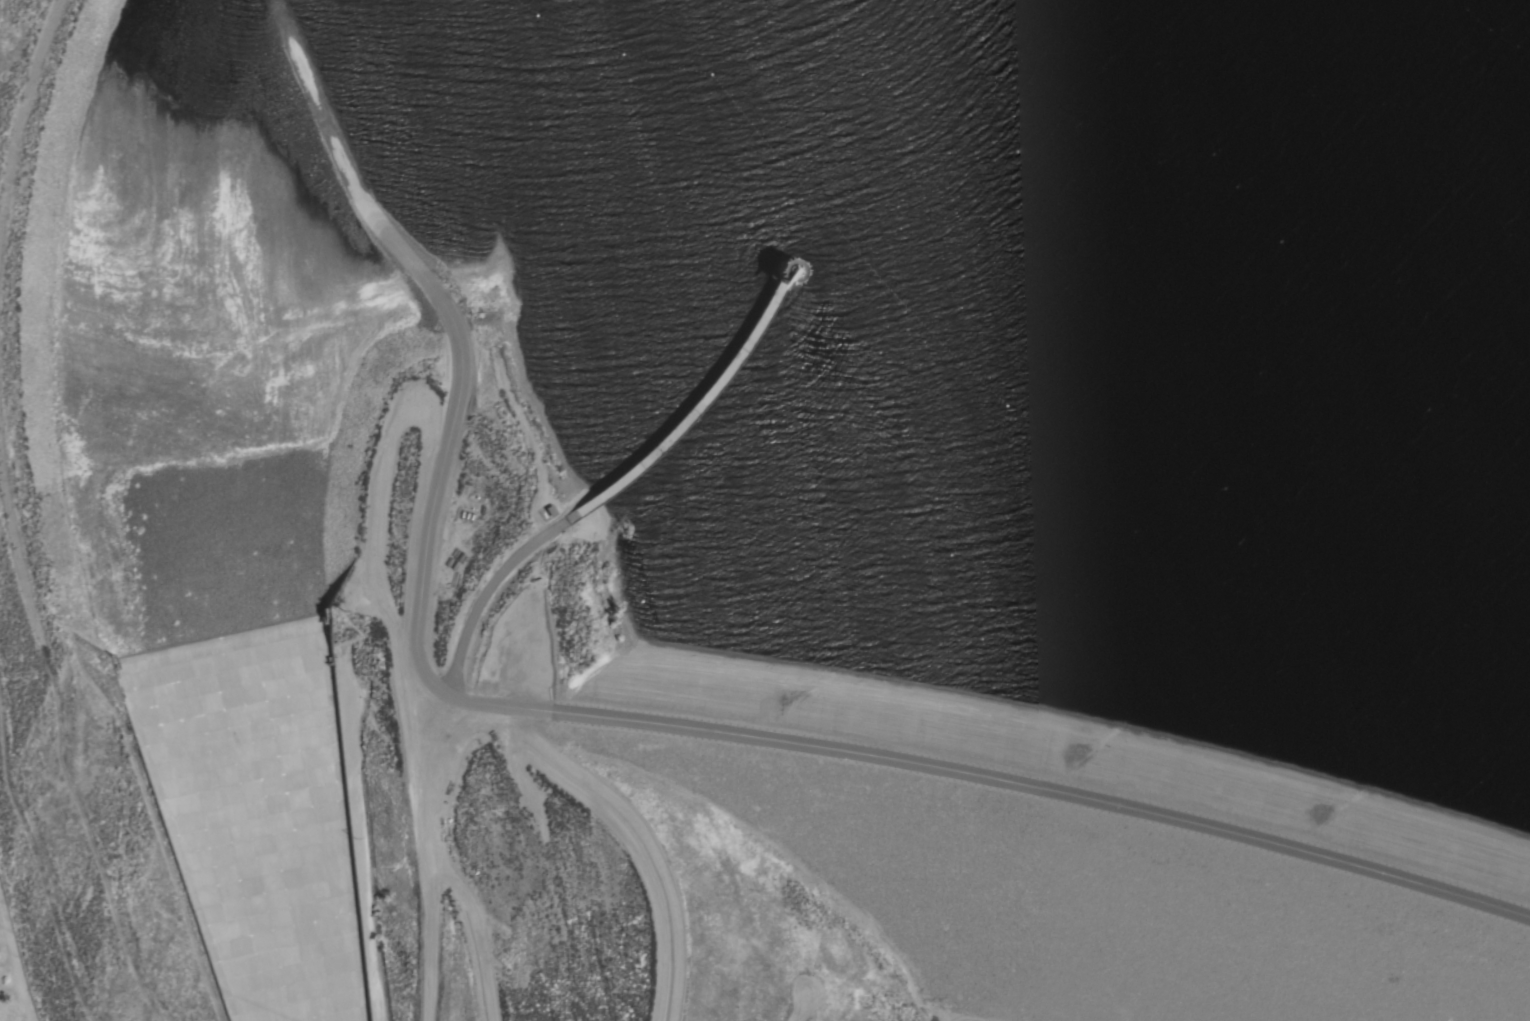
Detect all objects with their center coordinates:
park: (3, 8)
building: (786, 270)
road: (484, 607)
park: (1388, 612)
road: (607, 722)
dam: (1095, 857)
park: (34, 917)
road: (17, 964)

